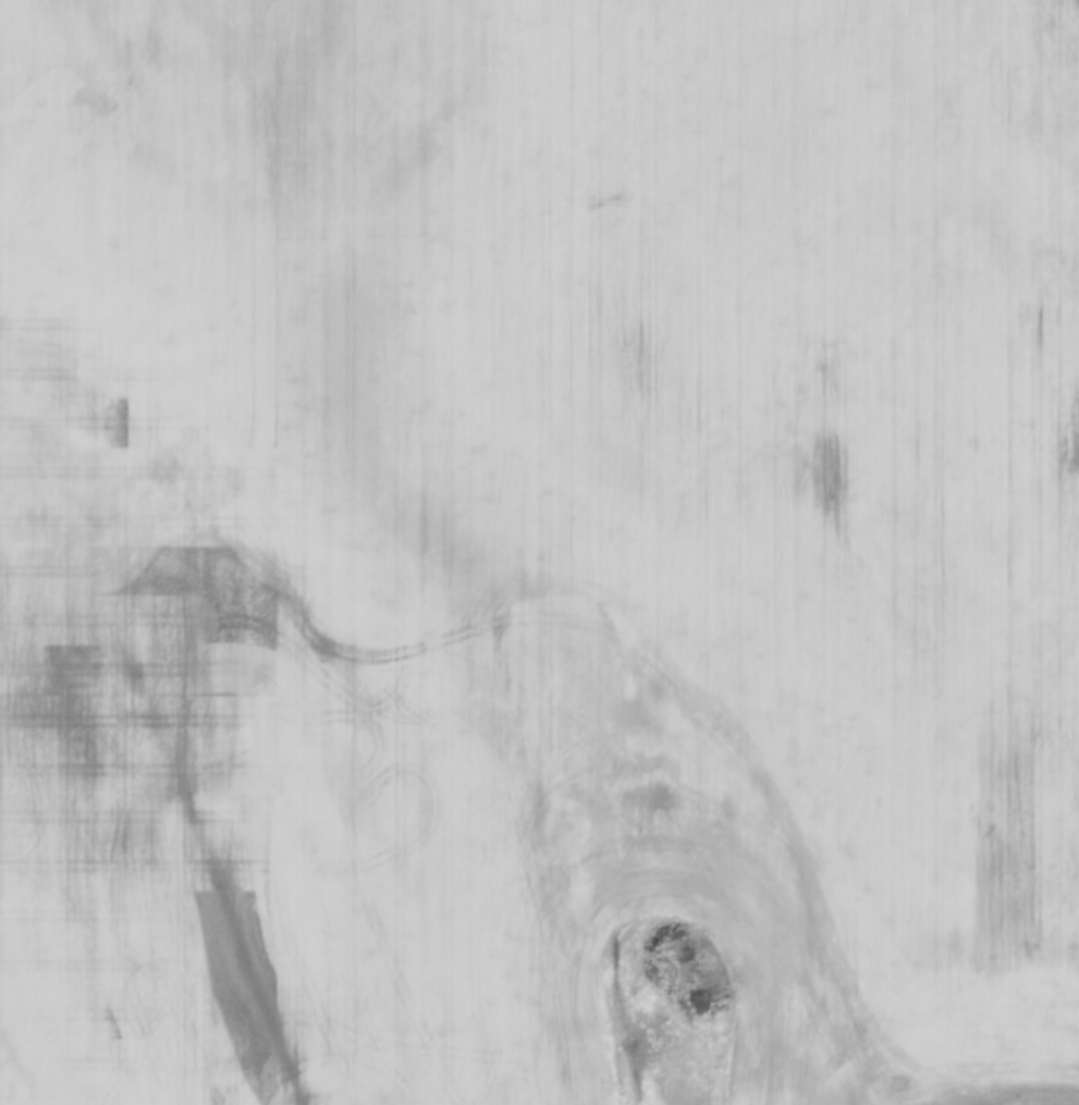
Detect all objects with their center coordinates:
quarry: (677, 914)
road: (1014, 1103)

